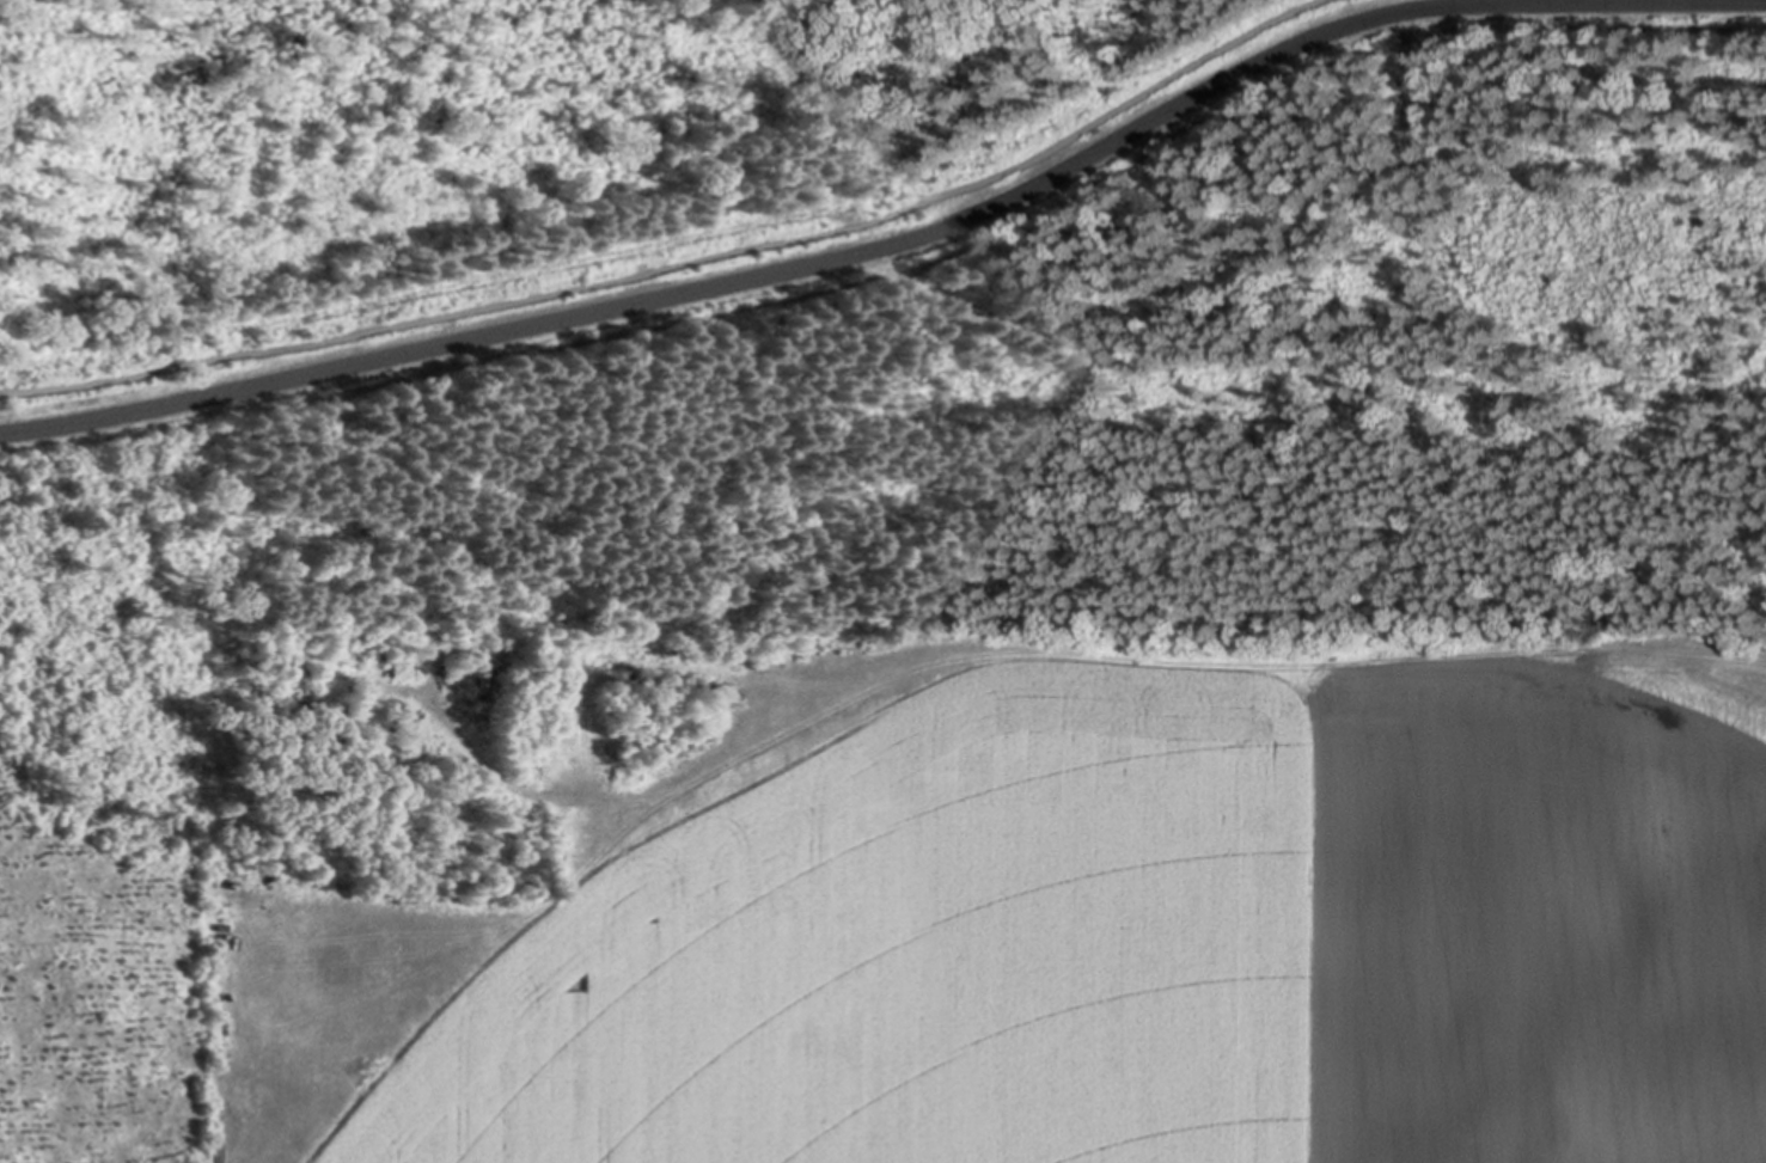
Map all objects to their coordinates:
road: (899, 243)
road: (685, 259)
building: (845, 642)
crop: (976, 885)

